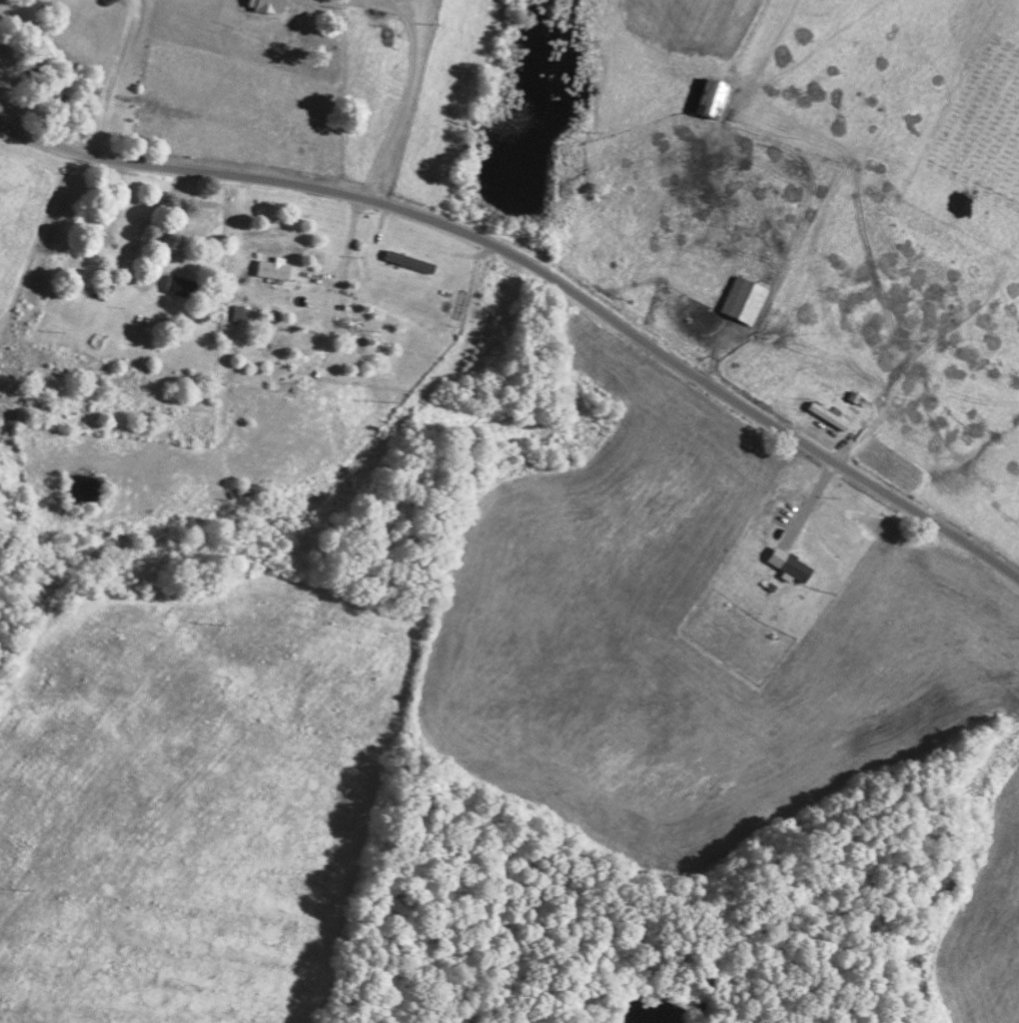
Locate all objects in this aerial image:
building: (270, 4)
building: (717, 96)
building: (413, 261)
building: (277, 268)
road: (543, 272)
building: (110, 277)
building: (182, 286)
building: (749, 299)
building: (832, 416)
building: (800, 568)

